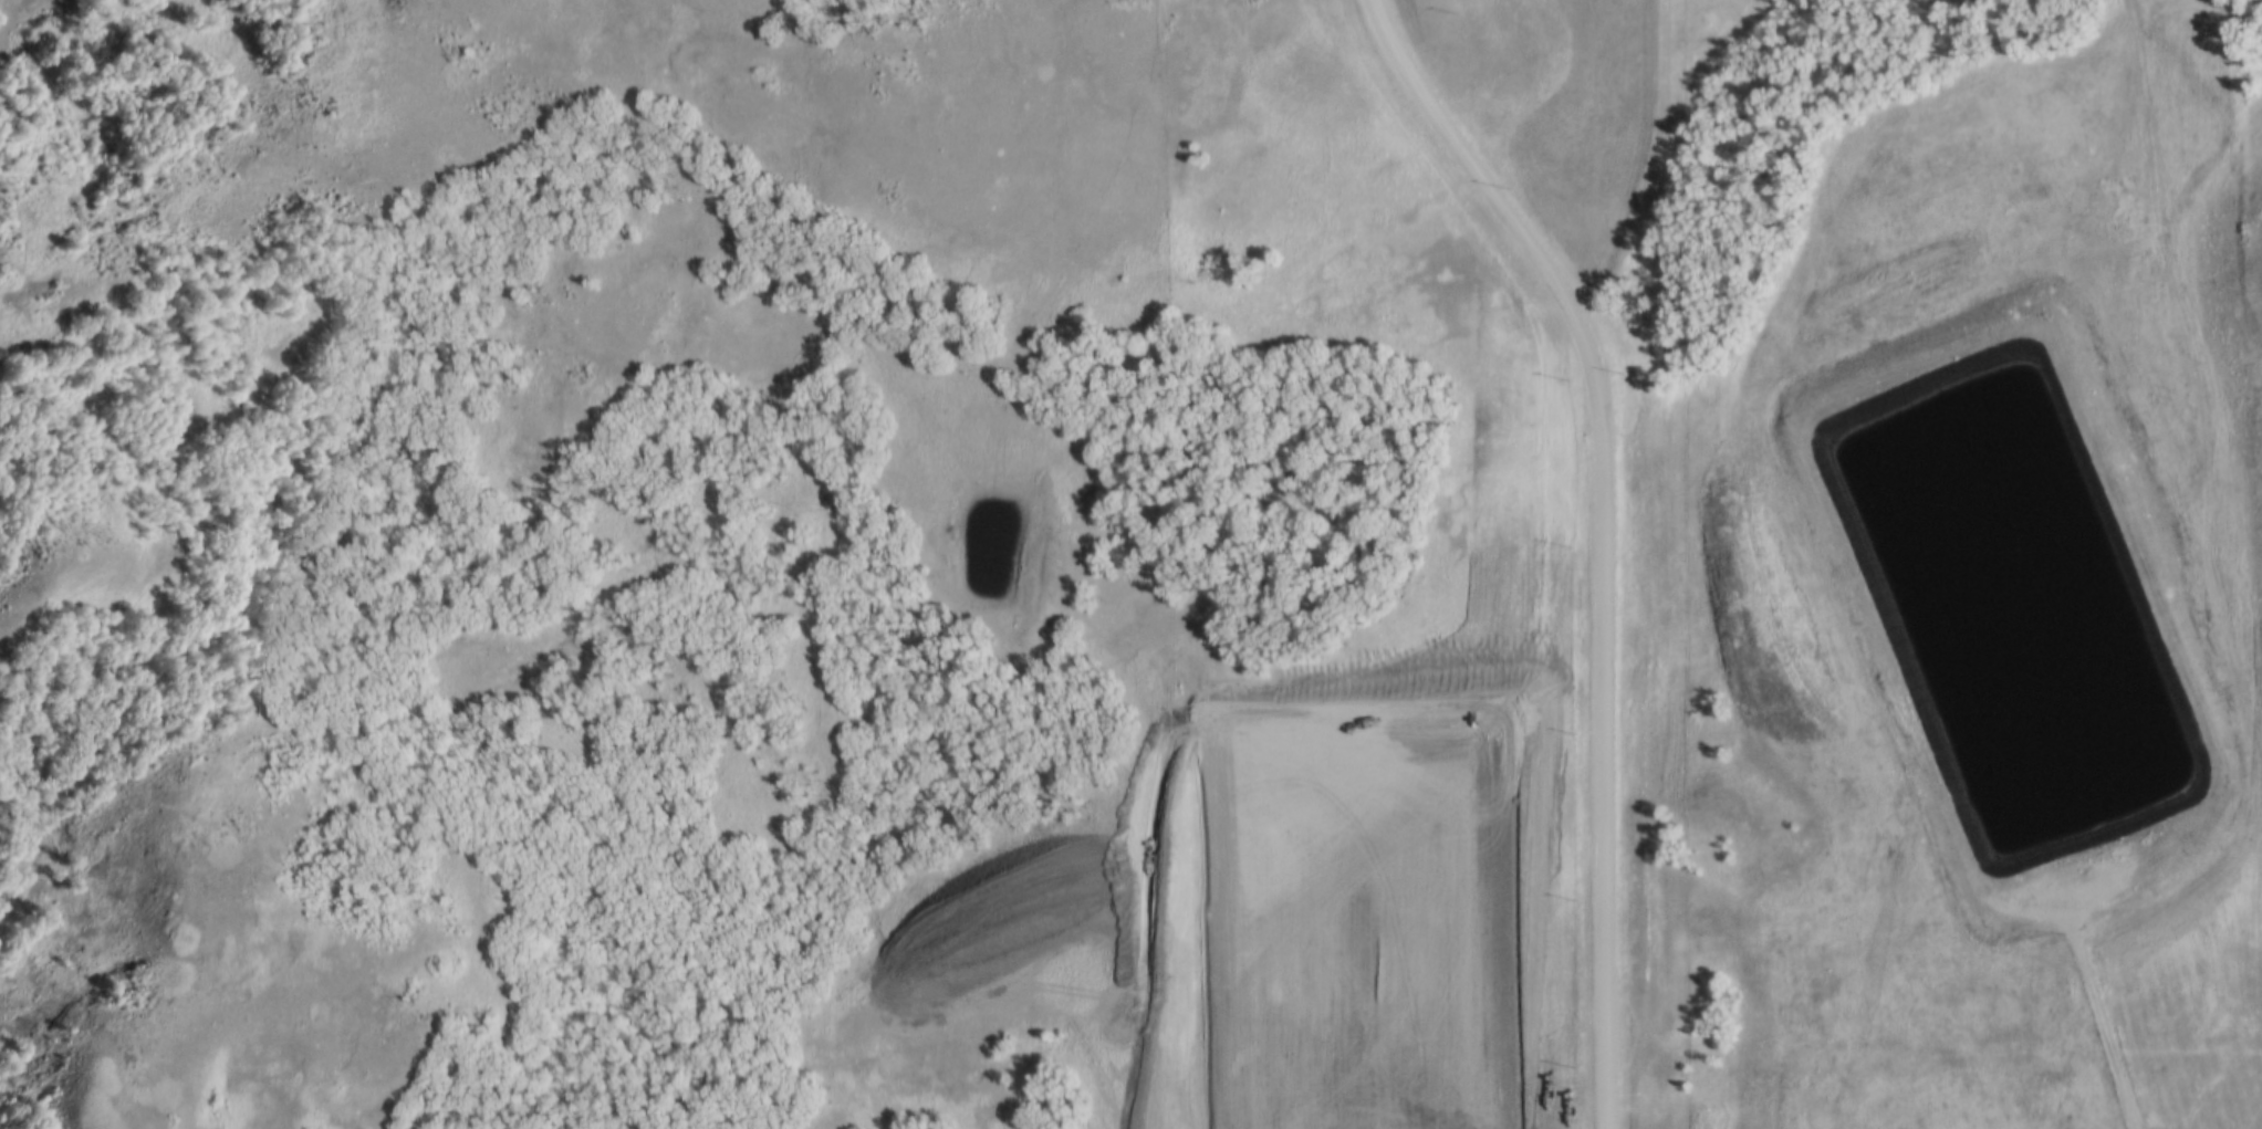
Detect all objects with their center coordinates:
road: (1595, 533)

